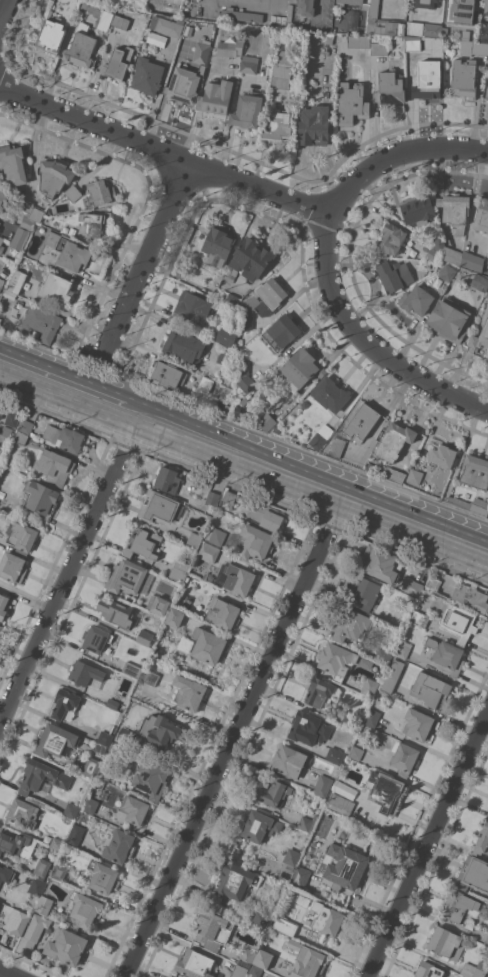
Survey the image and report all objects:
building: (176, 1)
building: (349, 2)
building: (427, 3)
building: (307, 7)
building: (486, 10)
building: (461, 11)
building: (242, 14)
building: (105, 20)
building: (121, 21)
building: (383, 23)
building: (166, 25)
building: (433, 29)
building: (52, 35)
building: (155, 38)
building: (329, 38)
building: (359, 41)
building: (413, 44)
building: (472, 45)
building: (83, 48)
building: (379, 48)
building: (230, 49)
building: (202, 52)
building: (117, 63)
building: (249, 64)
building: (282, 69)
building: (148, 75)
building: (464, 78)
building: (428, 79)
building: (185, 84)
building: (390, 88)
building: (216, 97)
building: (487, 97)
building: (353, 103)
building: (247, 111)
building: (279, 124)
building: (315, 124)
building: (13, 165)
building: (55, 175)
road: (250, 182)
building: (0, 183)
building: (102, 192)
building: (72, 193)
building: (3, 196)
building: (455, 210)
building: (418, 211)
building: (30, 213)
building: (482, 216)
building: (0, 222)
building: (95, 224)
building: (72, 231)
building: (19, 238)
building: (390, 239)
building: (1, 245)
building: (218, 246)
building: (436, 250)
building: (69, 251)
building: (452, 255)
road: (150, 258)
building: (249, 260)
building: (473, 261)
building: (422, 265)
building: (447, 272)
building: (395, 275)
building: (17, 281)
building: (1, 282)
building: (480, 282)
building: (57, 287)
building: (267, 297)
building: (417, 299)
building: (232, 300)
building: (193, 307)
building: (449, 320)
building: (246, 321)
building: (42, 322)
building: (282, 332)
building: (35, 333)
building: (225, 335)
building: (480, 337)
road: (367, 340)
building: (240, 341)
building: (184, 347)
building: (226, 356)
building: (242, 367)
building: (301, 369)
road: (67, 371)
building: (168, 374)
building: (247, 383)
building: (205, 384)
building: (331, 394)
building: (273, 396)
building: (304, 403)
road: (66, 404)
building: (2, 408)
building: (227, 409)
building: (238, 411)
building: (12, 418)
building: (265, 420)
building: (362, 422)
building: (26, 426)
building: (275, 429)
building: (6, 431)
building: (321, 436)
building: (21, 437)
building: (65, 438)
road: (130, 438)
building: (395, 440)
building: (337, 447)
building: (444, 456)
building: (54, 466)
road: (310, 467)
road: (235, 470)
building: (475, 471)
building: (395, 475)
building: (415, 476)
building: (168, 480)
building: (213, 498)
building: (230, 498)
building: (42, 499)
building: (472, 505)
building: (158, 507)
building: (264, 516)
road: (334, 516)
building: (22, 535)
building: (218, 536)
road: (412, 538)
building: (195, 539)
building: (256, 542)
building: (144, 544)
building: (209, 552)
building: (379, 563)
building: (13, 567)
building: (180, 571)
building: (126, 576)
building: (234, 578)
building: (433, 583)
road: (63, 586)
building: (413, 587)
building: (365, 592)
building: (471, 597)
building: (3, 605)
building: (160, 605)
building: (117, 612)
building: (223, 613)
building: (175, 617)
building: (420, 619)
building: (461, 623)
building: (352, 624)
building: (145, 637)
building: (96, 638)
building: (208, 645)
building: (403, 649)
building: (383, 655)
building: (447, 655)
building: (337, 660)
building: (365, 662)
building: (133, 670)
building: (85, 672)
building: (393, 675)
building: (149, 677)
building: (370, 687)
building: (430, 689)
building: (189, 691)
building: (321, 692)
building: (65, 702)
building: (112, 702)
building: (372, 717)
building: (350, 722)
building: (418, 724)
building: (309, 728)
building: (159, 730)
building: (124, 735)
building: (104, 737)
building: (55, 740)
building: (100, 747)
road: (228, 750)
building: (356, 752)
building: (335, 755)
building: (404, 757)
building: (289, 761)
building: (91, 766)
building: (105, 771)
building: (42, 776)
building: (151, 778)
building: (323, 786)
building: (386, 792)
building: (273, 793)
building: (340, 803)
building: (90, 805)
building: (134, 809)
building: (71, 810)
building: (23, 812)
building: (307, 822)
building: (260, 826)
building: (75, 835)
building: (482, 841)
building: (56, 843)
building: (16, 844)
building: (119, 846)
road: (429, 848)
building: (291, 860)
building: (42, 867)
building: (345, 867)
building: (59, 872)
building: (473, 874)
building: (5, 876)
building: (103, 876)
building: (300, 876)
building: (235, 880)
building: (37, 886)
building: (44, 904)
building: (458, 906)
building: (84, 911)
building: (261, 919)
building: (326, 919)
building: (17, 921)
building: (280, 923)
building: (213, 928)
building: (33, 933)
building: (486, 940)
building: (446, 943)
building: (67, 946)
building: (247, 957)
building: (263, 958)
building: (307, 960)
building: (195, 963)
building: (474, 969)
building: (255, 970)
building: (429, 970)
building: (239, 971)
road: (5, 974)
building: (487, 975)
building: (168, 976)
building: (171, 976)

